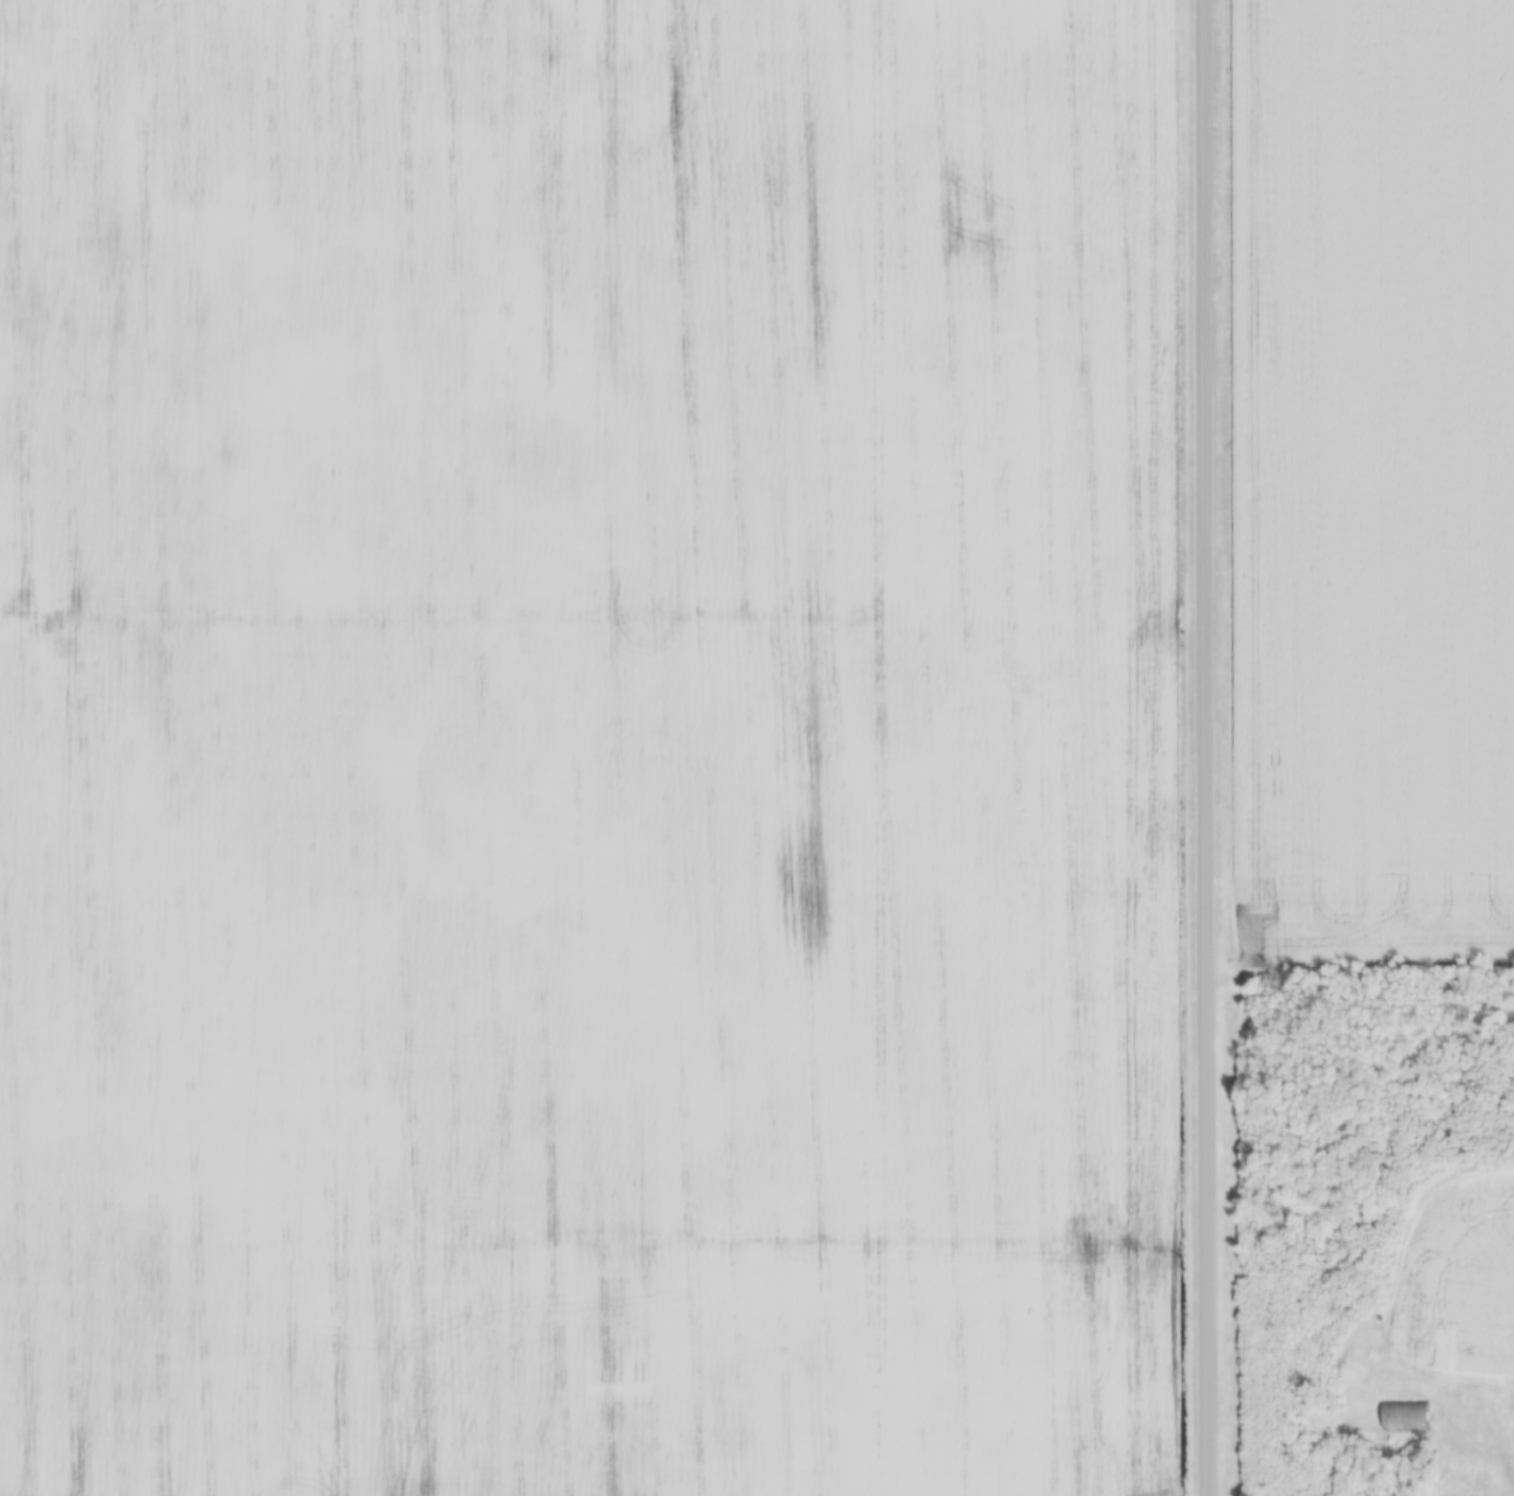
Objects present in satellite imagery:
road: (1207, 748)
building: (1513, 1388)
road: (1459, 1411)
building: (1408, 1412)

